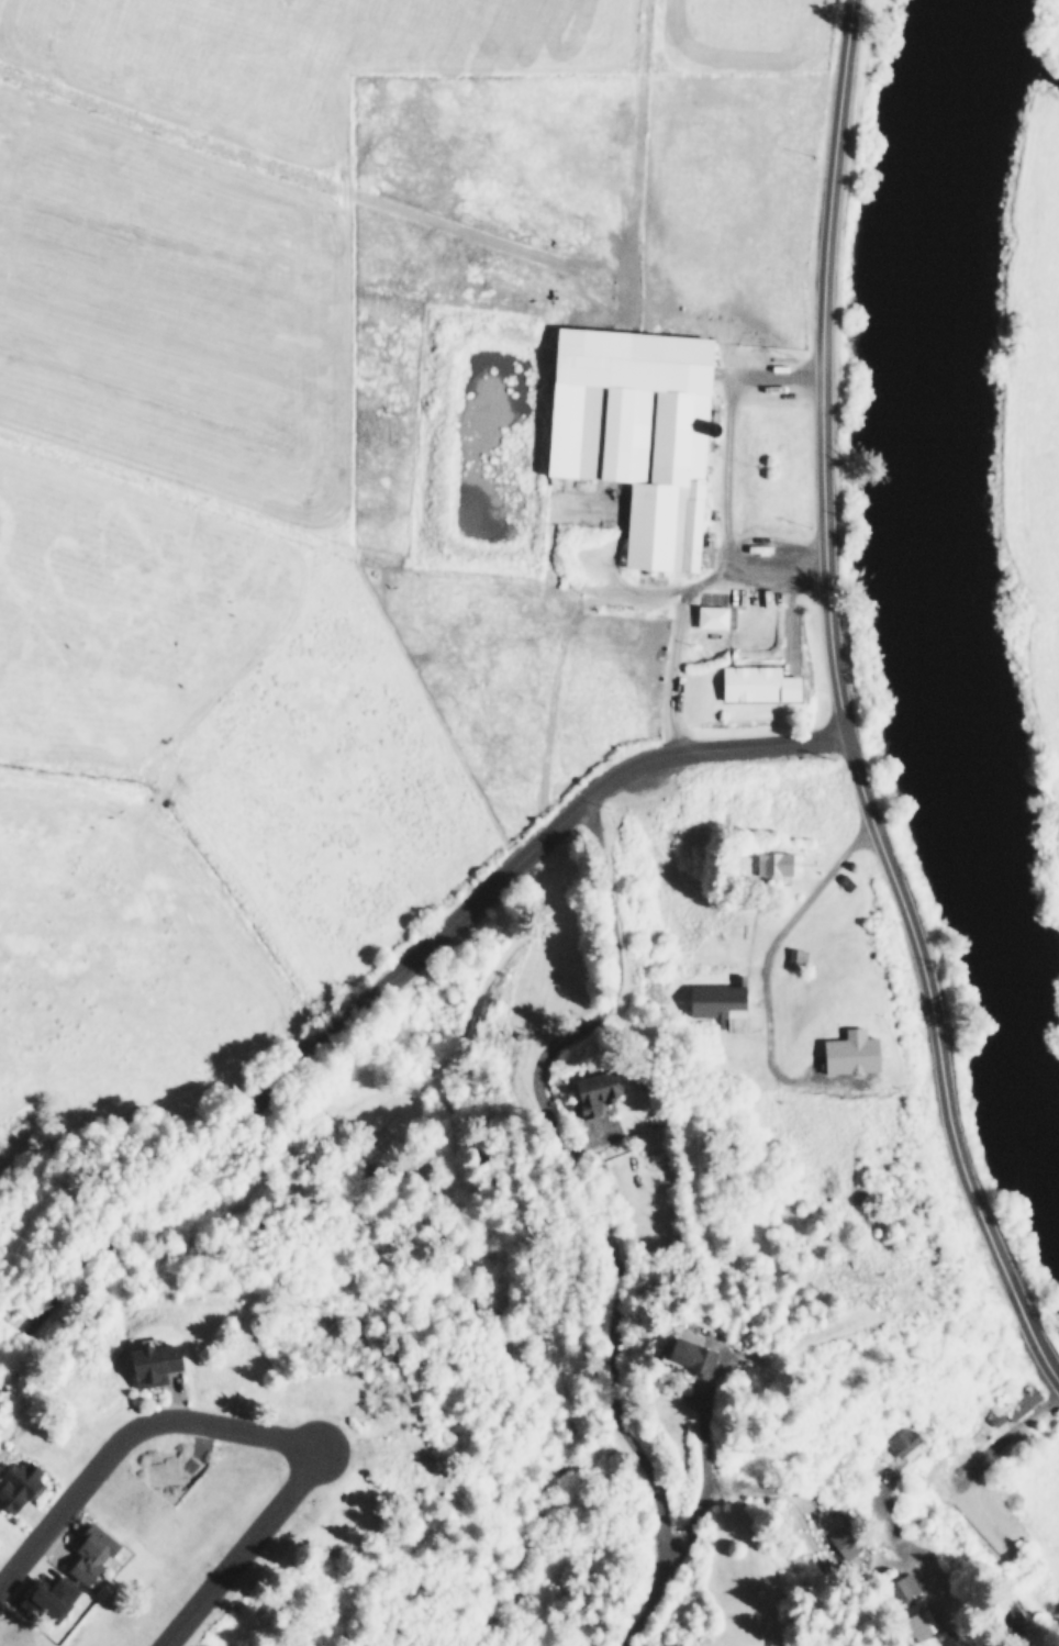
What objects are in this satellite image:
building: (633, 430)
crop: (1044, 433)
crop: (319, 483)
building: (758, 546)
river: (941, 591)
building: (709, 615)
building: (755, 681)
road: (841, 709)
building: (770, 861)
road: (773, 948)
building: (793, 957)
road: (387, 988)
building: (715, 998)
building: (848, 1050)
building: (592, 1089)
road: (602, 1211)
building: (684, 1350)
building: (149, 1360)
building: (1016, 1401)
road: (236, 1432)
building: (902, 1438)
building: (16, 1481)
building: (843, 1541)
building: (88, 1550)
building: (900, 1587)
building: (44, 1595)
building: (1007, 1612)
building: (915, 1624)

